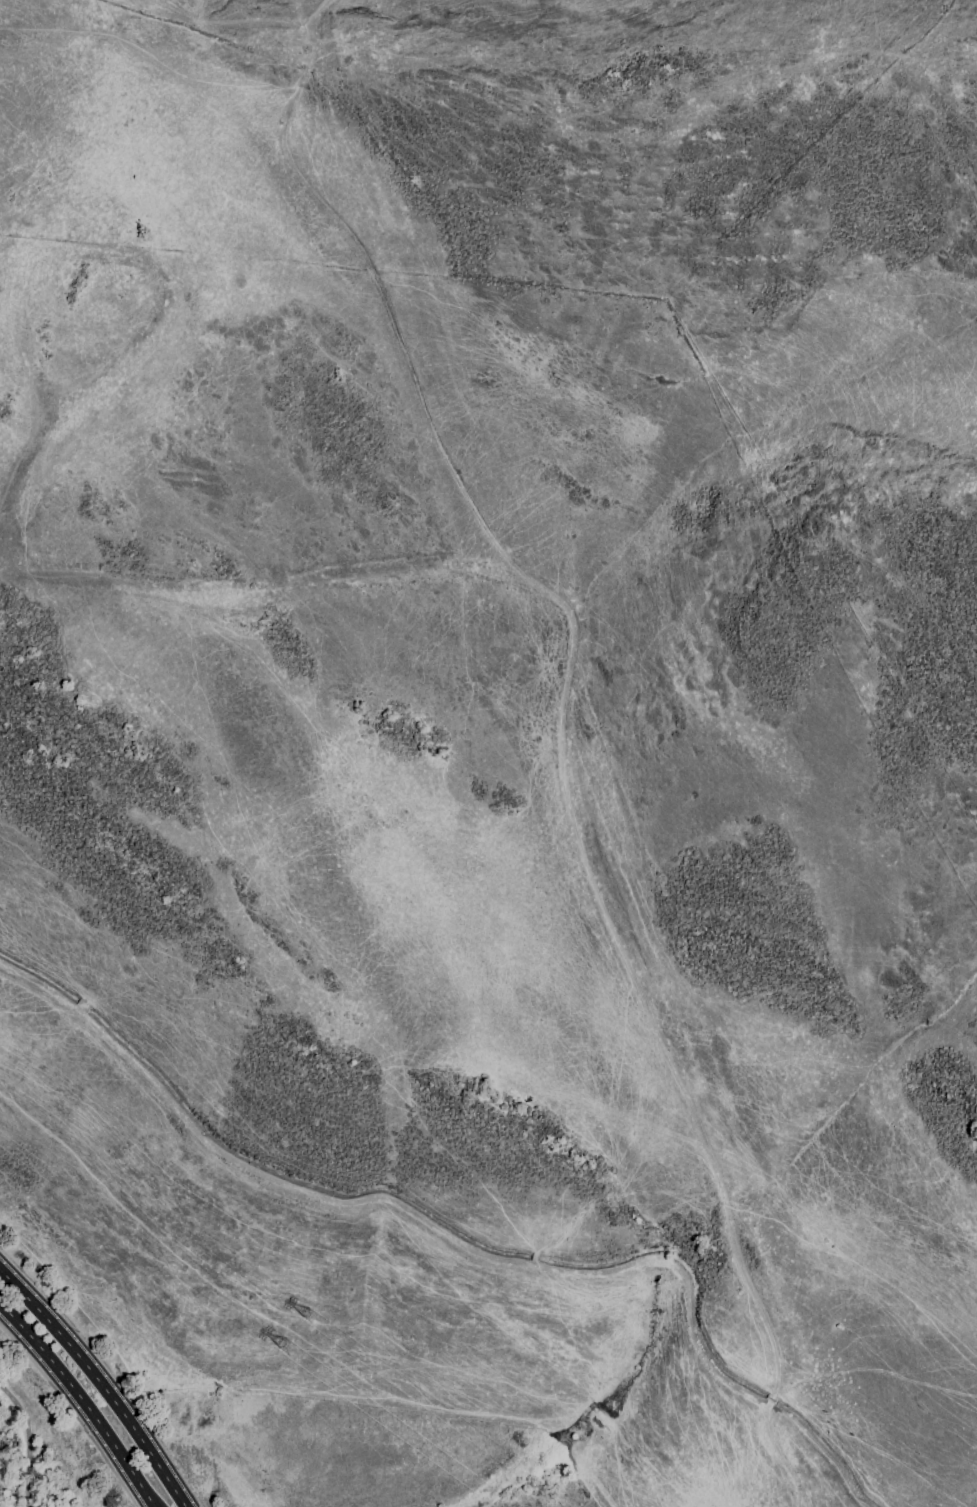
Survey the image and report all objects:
power tower: (312, 1316)
power tower: (287, 1346)
road: (23, 1352)
road: (109, 1371)
road: (97, 1384)
road: (81, 1402)
road: (34, 1439)

